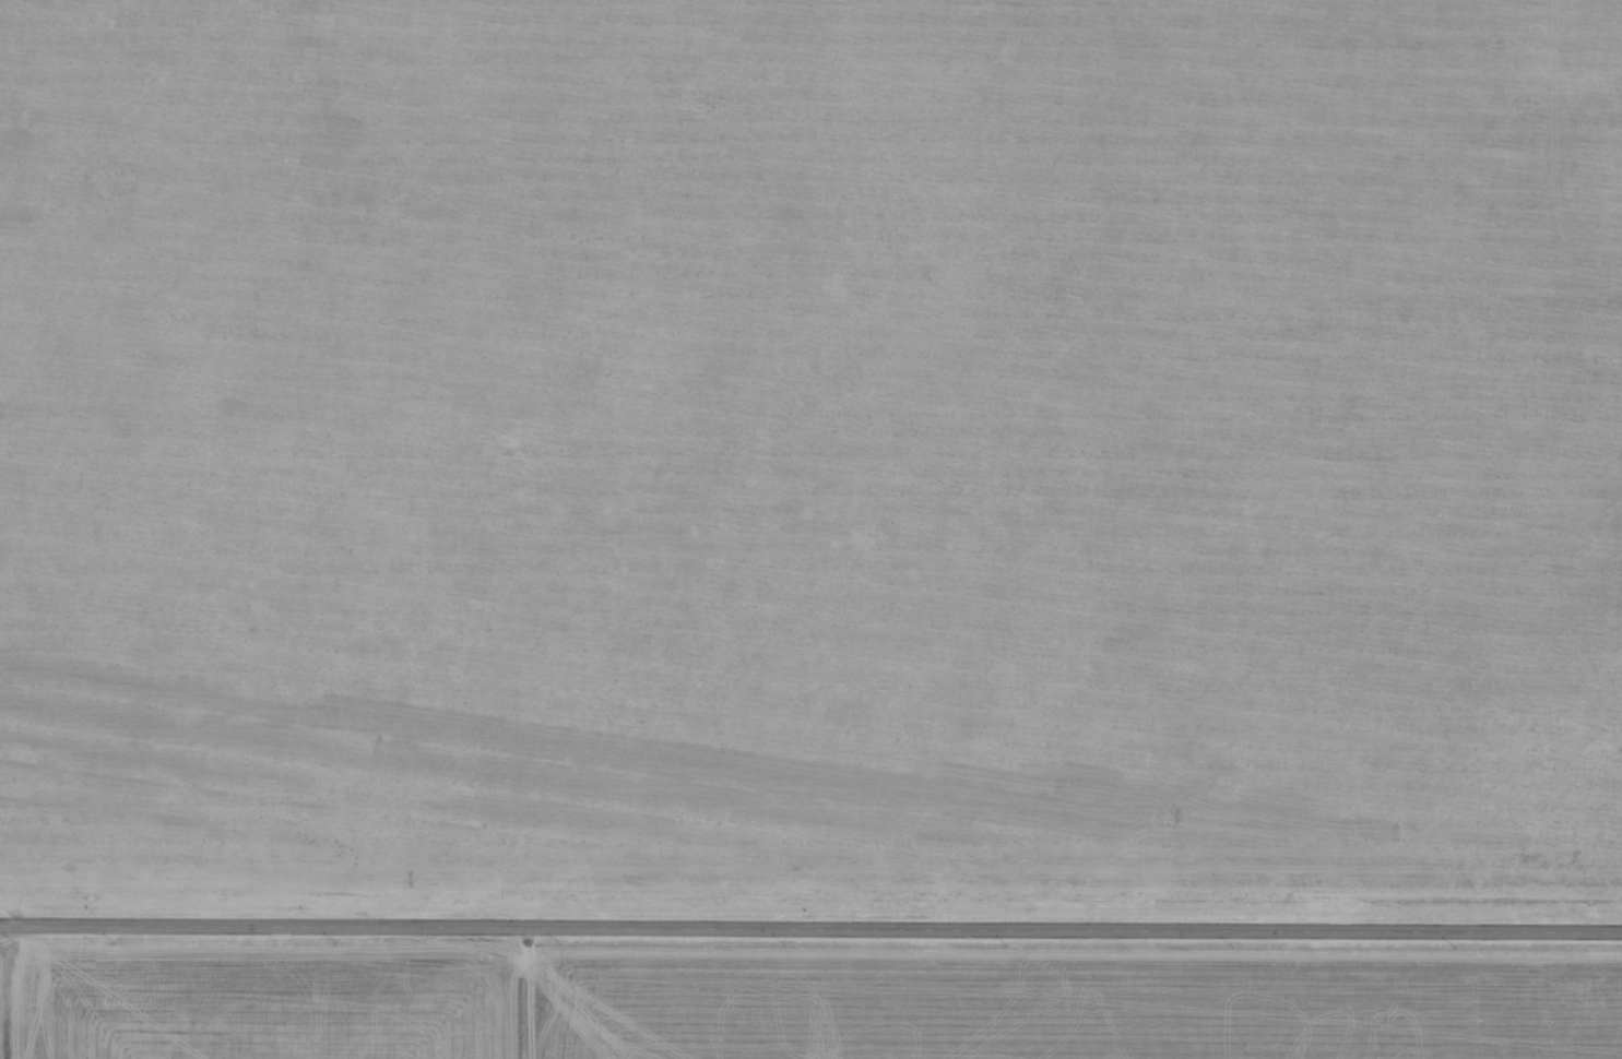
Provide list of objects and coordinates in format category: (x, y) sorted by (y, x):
road: (810, 929)

